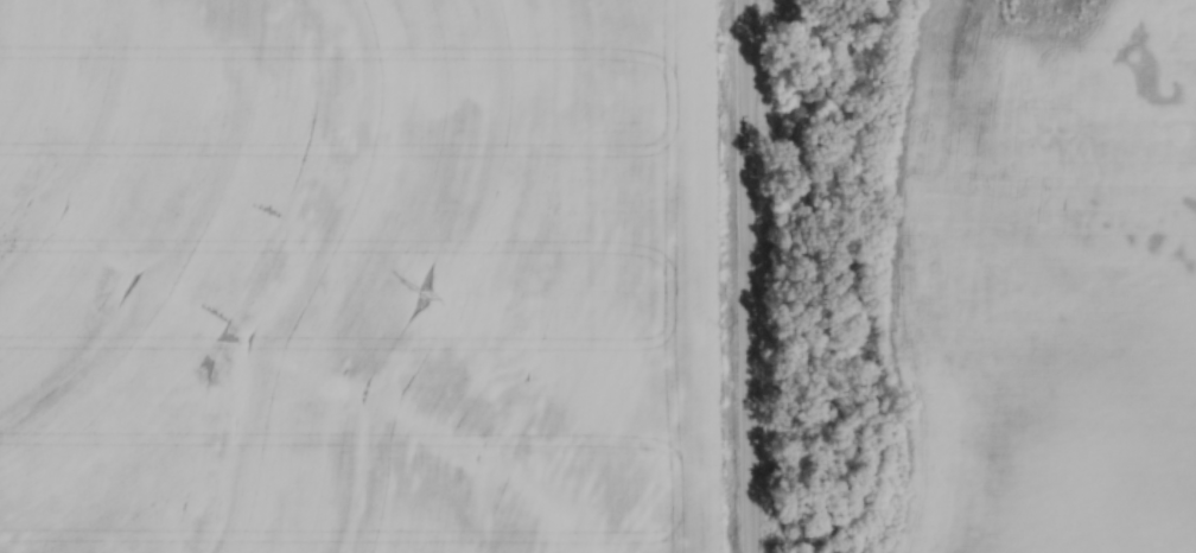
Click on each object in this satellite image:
road: (746, 275)
power tower: (424, 293)

